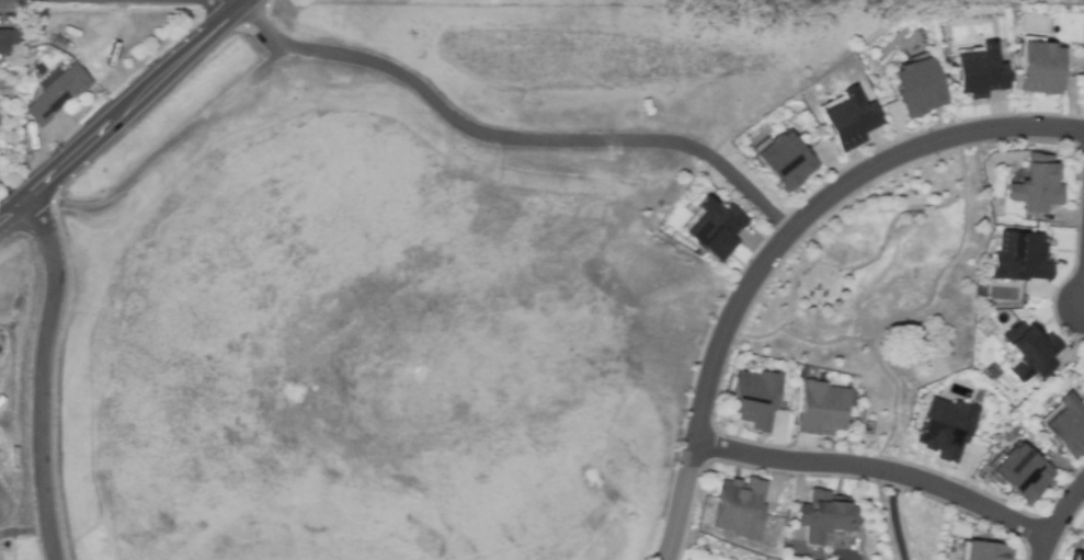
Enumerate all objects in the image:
road: (271, 32)
building: (57, 43)
building: (4, 48)
building: (1039, 67)
building: (980, 73)
building: (912, 89)
building: (57, 93)
road: (119, 104)
building: (848, 122)
road: (532, 147)
building: (781, 163)
building: (1029, 190)
road: (775, 217)
building: (711, 230)
road: (778, 242)
road: (815, 244)
building: (1019, 258)
road: (949, 262)
road: (844, 270)
park: (883, 292)
road: (743, 319)
building: (0, 350)
building: (1030, 350)
road: (41, 370)
building: (756, 398)
road: (892, 403)
building: (823, 408)
building: (1066, 426)
building: (940, 428)
road: (879, 471)
building: (1018, 472)
building: (744, 508)
building: (830, 516)
road: (1062, 524)
road: (23, 532)
building: (978, 552)
building: (1073, 557)

